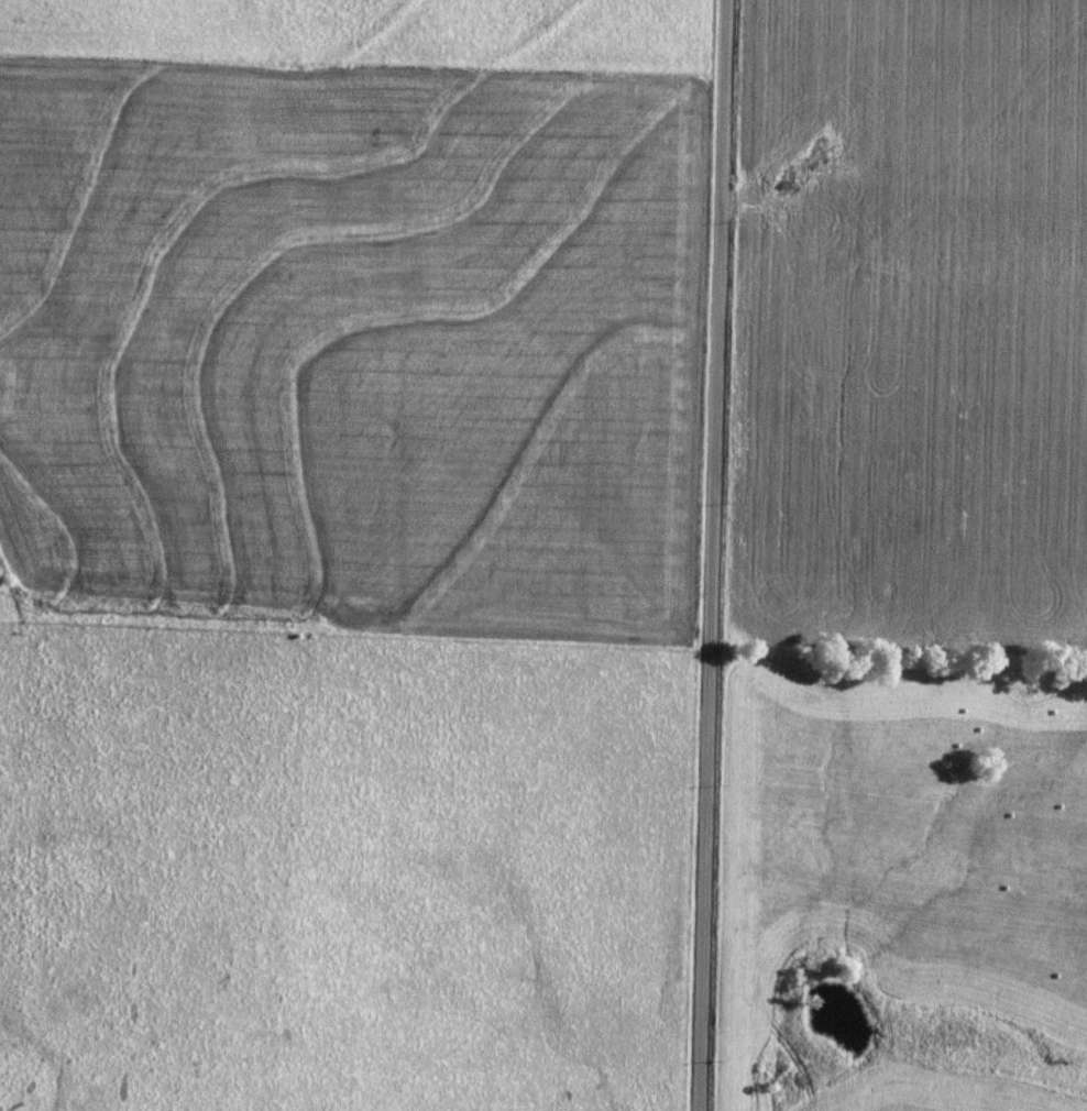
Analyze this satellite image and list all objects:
road: (234, 10)
road: (710, 555)

